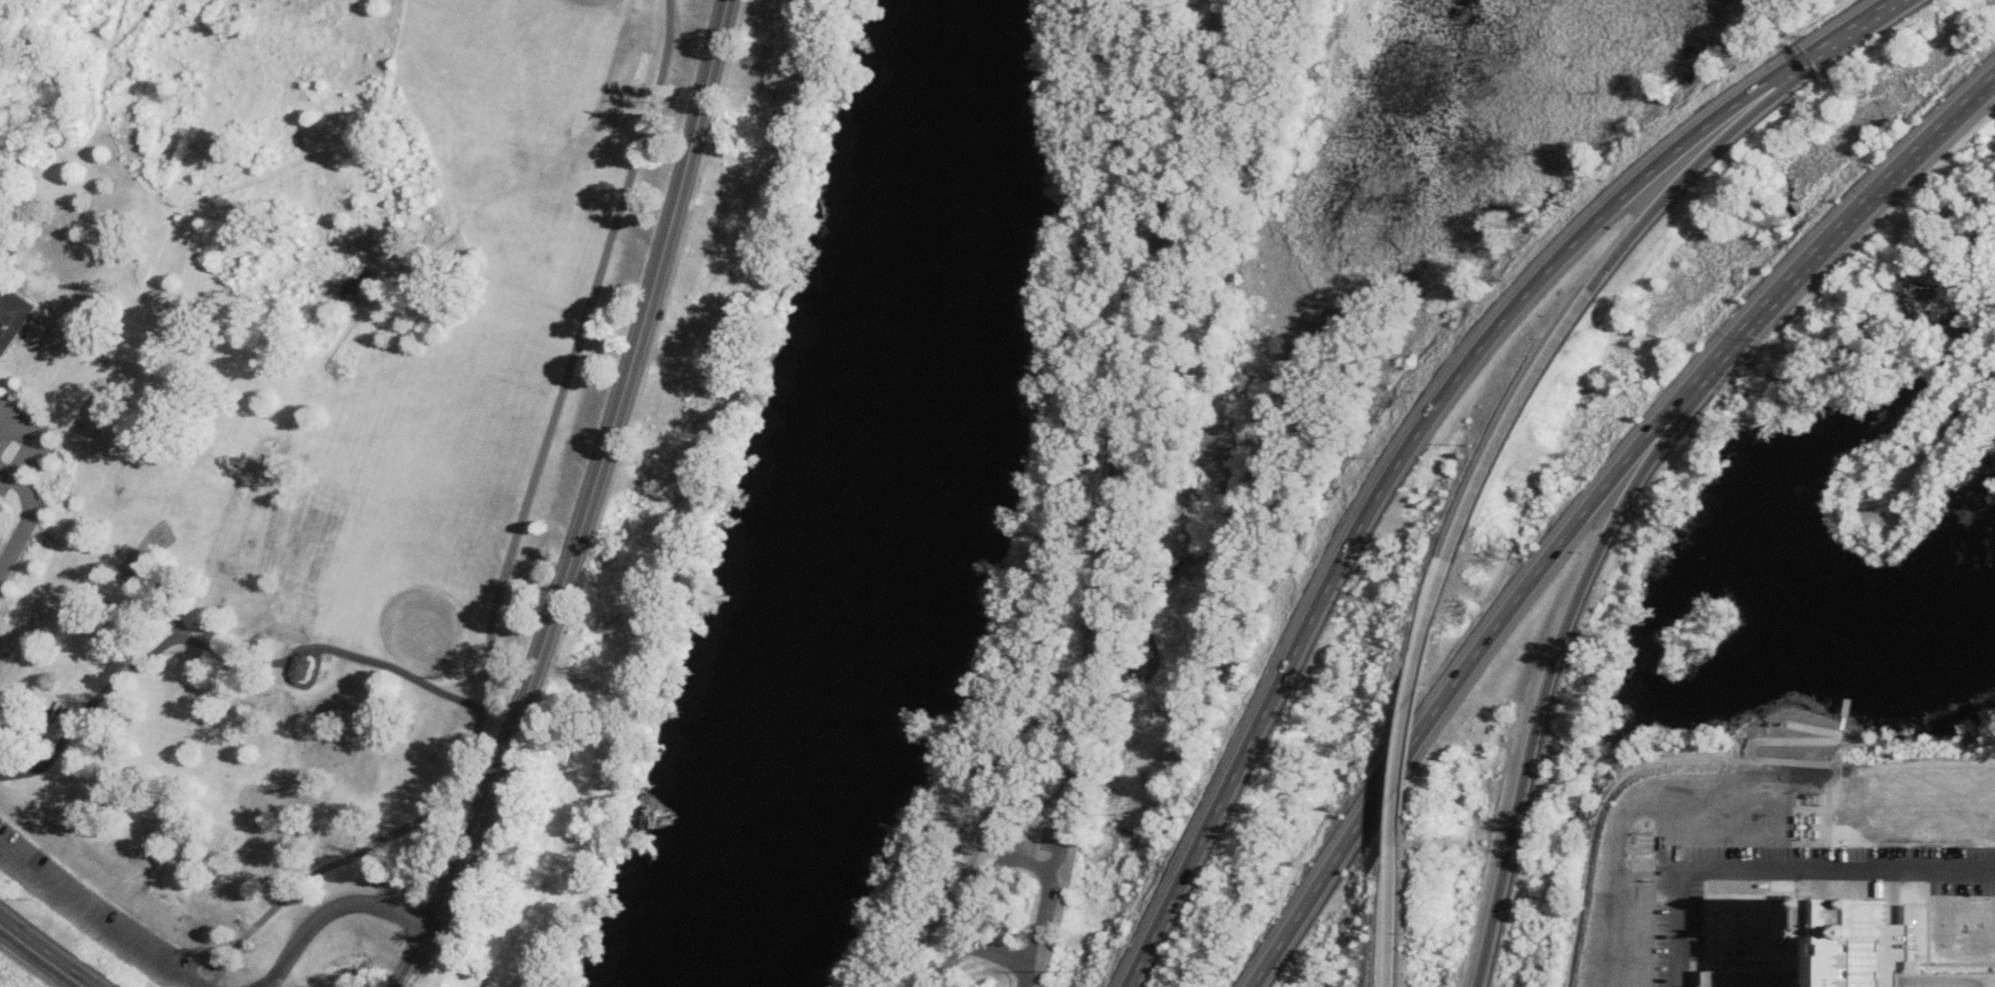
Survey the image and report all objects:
park: (591, 3)
road: (136, 24)
road: (107, 61)
road: (291, 167)
road: (21, 180)
road: (408, 257)
road: (1585, 302)
building: (12, 318)
road: (347, 323)
road: (1134, 382)
road: (1430, 424)
road: (33, 442)
parking lot: (21, 444)
park: (303, 445)
road: (6, 471)
road: (594, 502)
road: (1594, 504)
river: (894, 505)
road: (27, 525)
road: (510, 548)
road: (164, 602)
park: (419, 633)
road: (1555, 664)
road: (385, 667)
road: (134, 669)
building: (300, 669)
road: (1412, 739)
road: (1066, 821)
road: (976, 859)
road: (1840, 874)
road: (986, 897)
road: (329, 909)
parking lot: (91, 912)
road: (1399, 912)
road: (92, 917)
road: (1045, 928)
road: (1684, 931)
building: (1872, 951)
road: (53, 953)
road: (194, 985)

